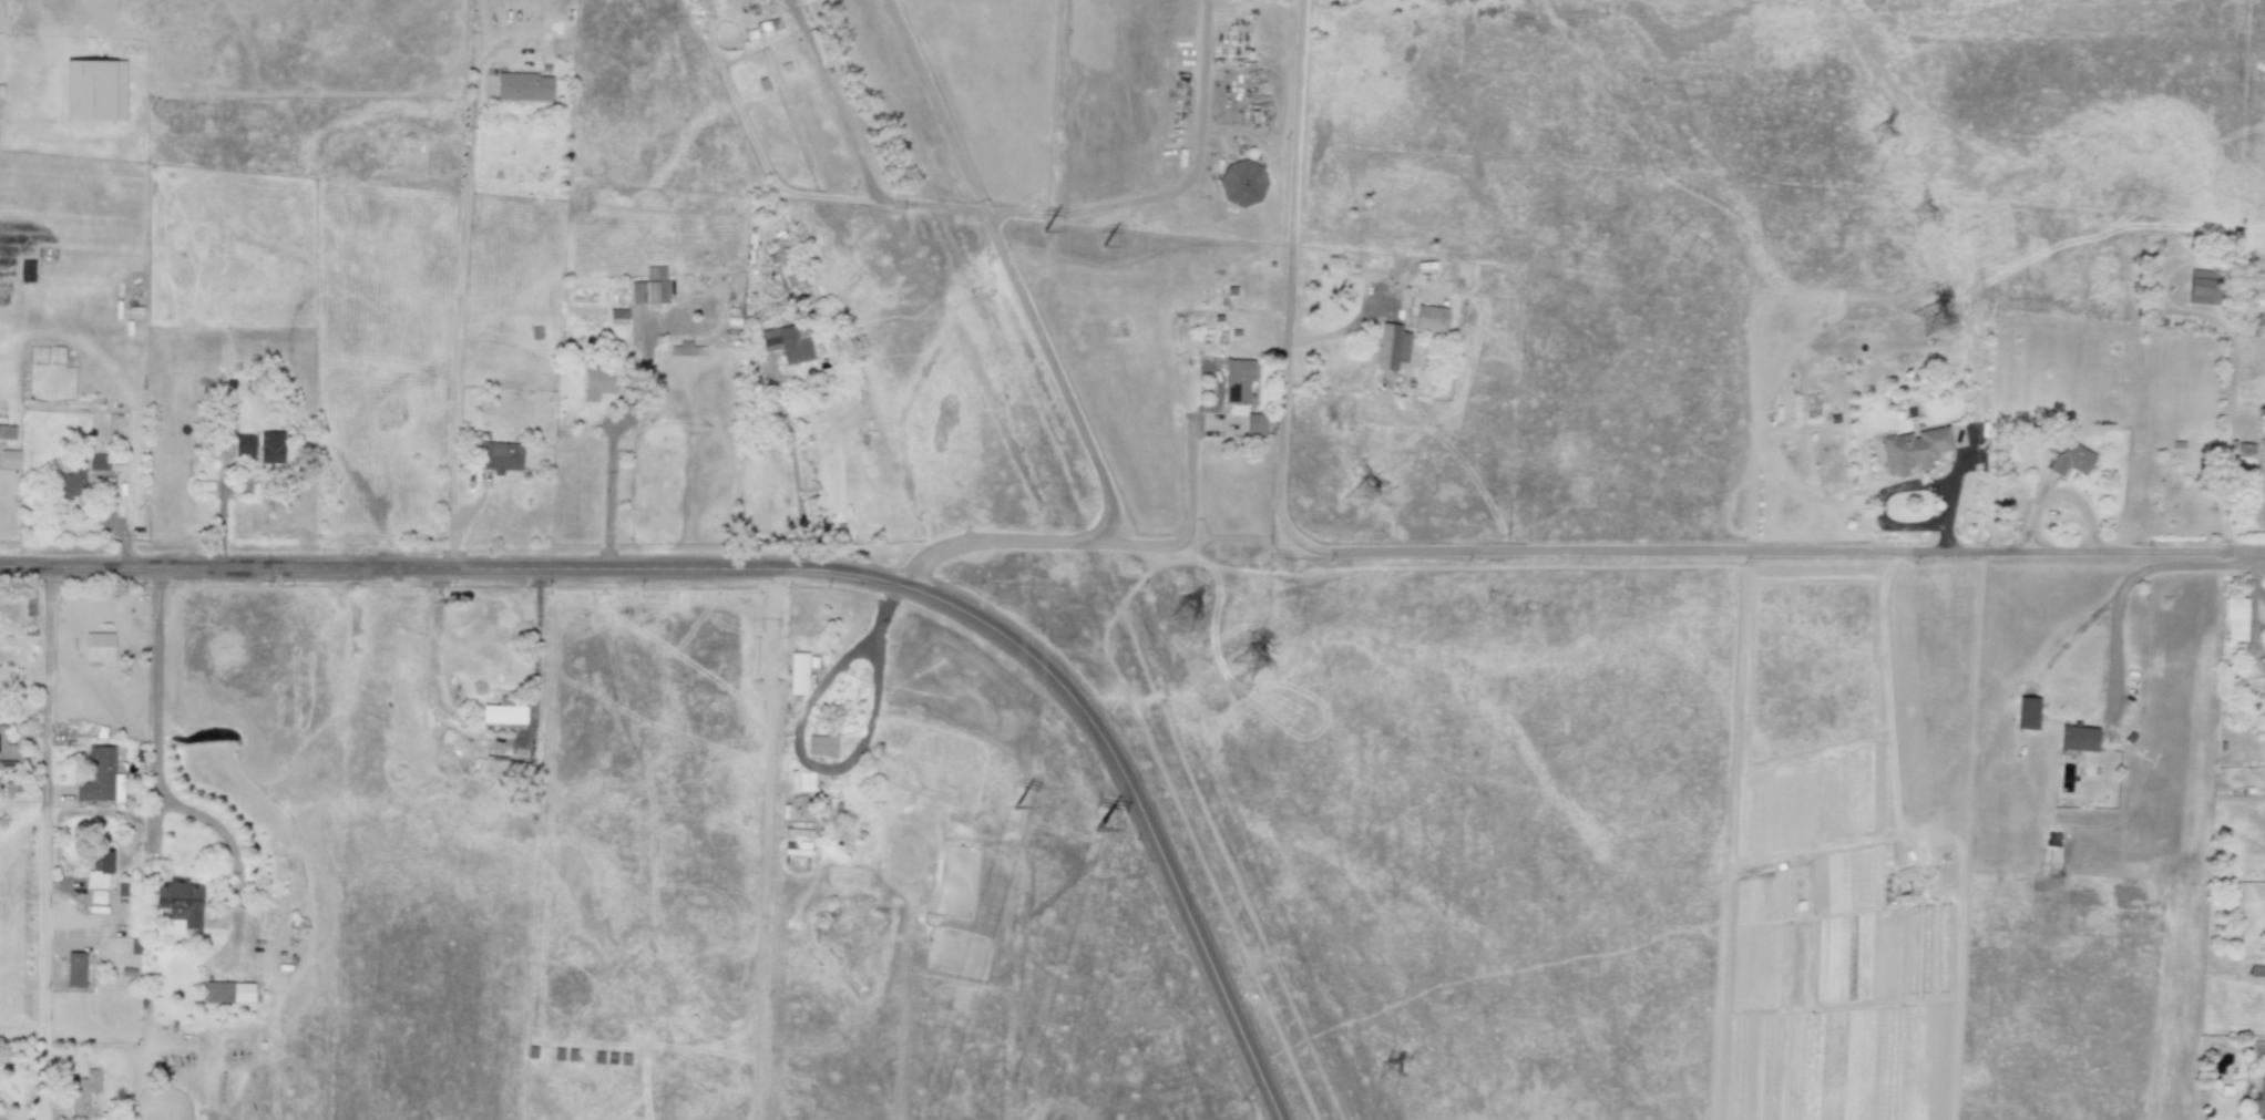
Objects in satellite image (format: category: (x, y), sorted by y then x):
building: (523, 88)
power tower: (1880, 135)
road: (854, 143)
building: (1243, 183)
road: (1178, 188)
power tower: (1921, 218)
power tower: (1668, 228)
power tower: (1698, 253)
building: (783, 270)
road: (1009, 270)
road: (1290, 273)
building: (649, 287)
building: (2202, 287)
building: (2254, 295)
building: (617, 314)
building: (1431, 319)
power tower: (1928, 323)
road: (455, 341)
building: (788, 342)
building: (1391, 347)
building: (686, 349)
building: (1238, 381)
building: (596, 384)
building: (1254, 423)
building: (7, 431)
building: (243, 445)
building: (269, 446)
building: (2262, 446)
road: (132, 449)
building: (1913, 450)
building: (499, 456)
building: (9, 459)
building: (2071, 459)
building: (96, 461)
road: (1191, 464)
road: (791, 467)
road: (611, 469)
building: (69, 486)
road: (1950, 492)
power tower: (1363, 496)
road: (1876, 510)
building: (2264, 513)
road: (1032, 538)
road: (1771, 553)
road: (2257, 557)
road: (790, 569)
road: (2122, 587)
power tower: (1493, 606)
power tower: (1529, 616)
power tower: (1183, 617)
building: (2234, 619)
building: (99, 647)
power tower: (1250, 661)
building: (797, 674)
building: (2264, 674)
building: (502, 712)
building: (2027, 712)
building: (2078, 738)
road: (494, 742)
building: (821, 746)
building: (8, 752)
road: (801, 752)
road: (156, 760)
building: (504, 768)
building: (96, 775)
crop: (1331, 777)
road: (766, 843)
road: (47, 844)
building: (98, 870)
building: (96, 896)
building: (178, 904)
building: (1996, 938)
building: (74, 969)
building: (228, 991)
power tower: (1388, 1077)
building: (82, 1093)
building: (2259, 1102)

